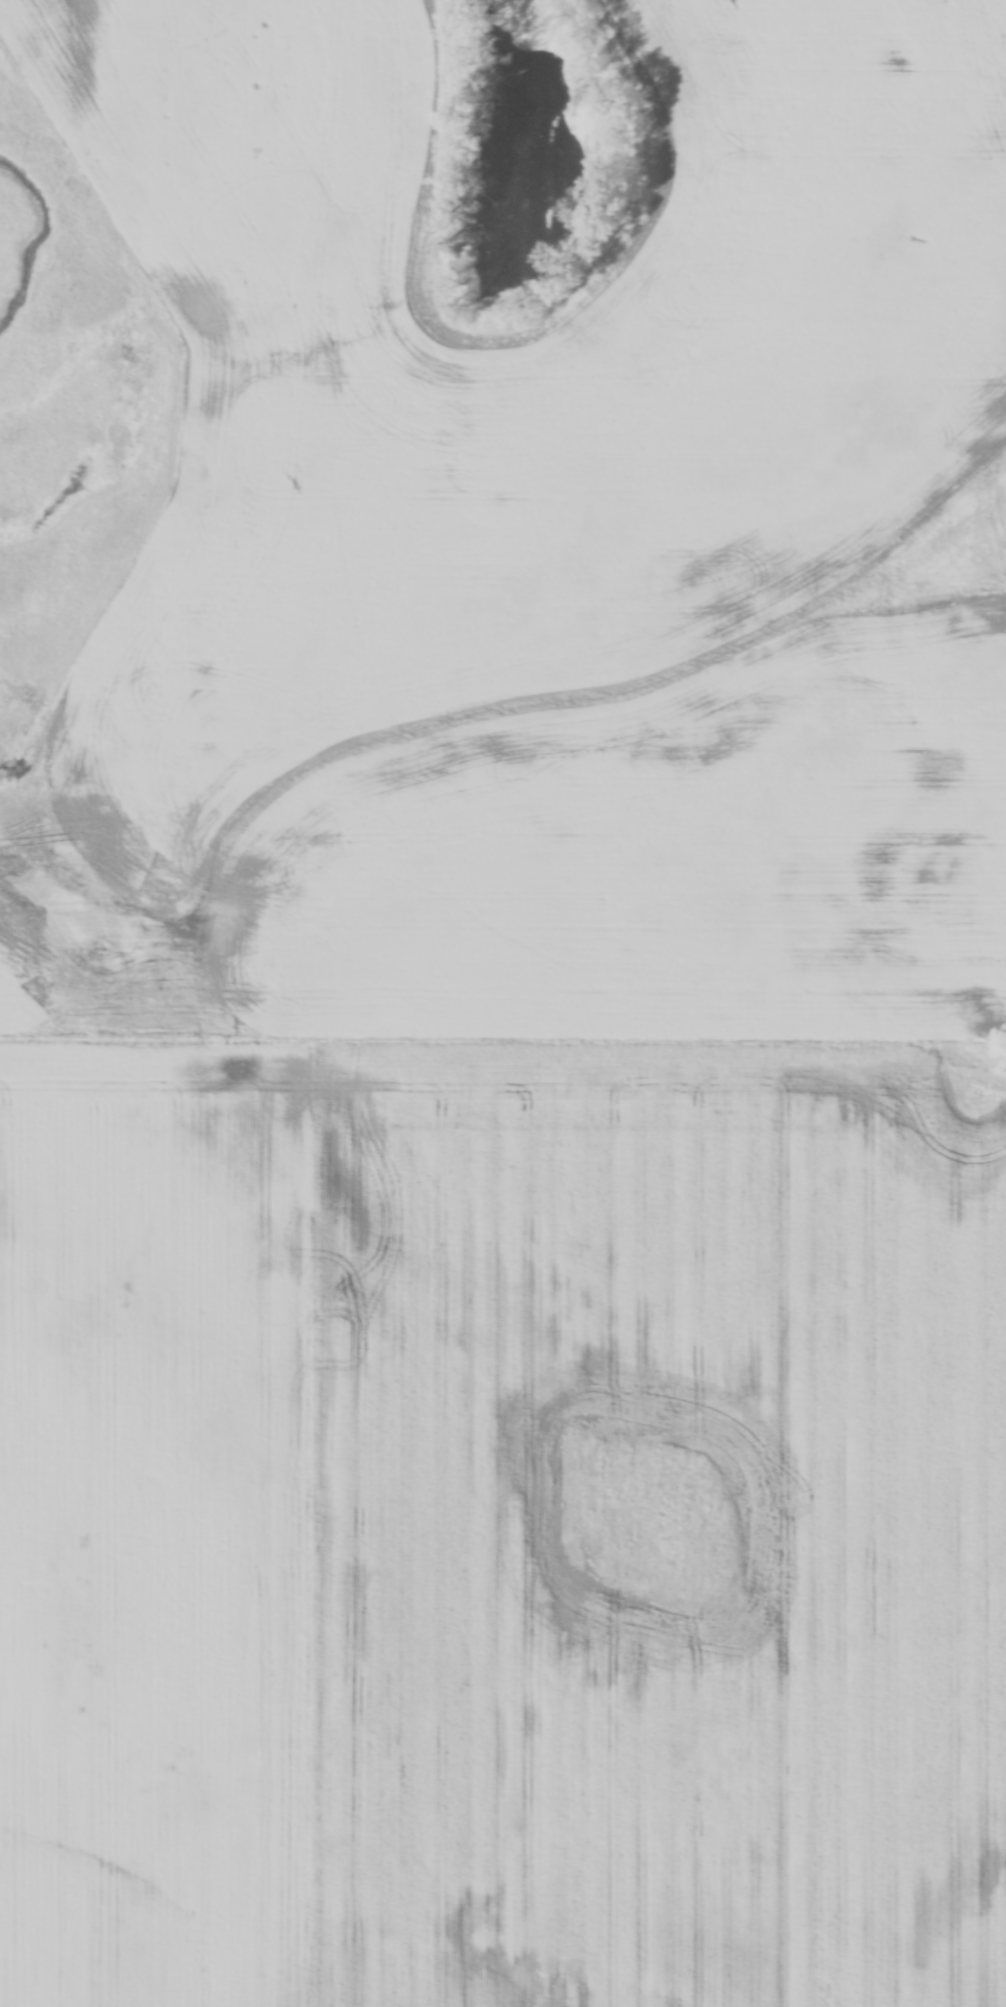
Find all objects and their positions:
crop: (152, 1528)

